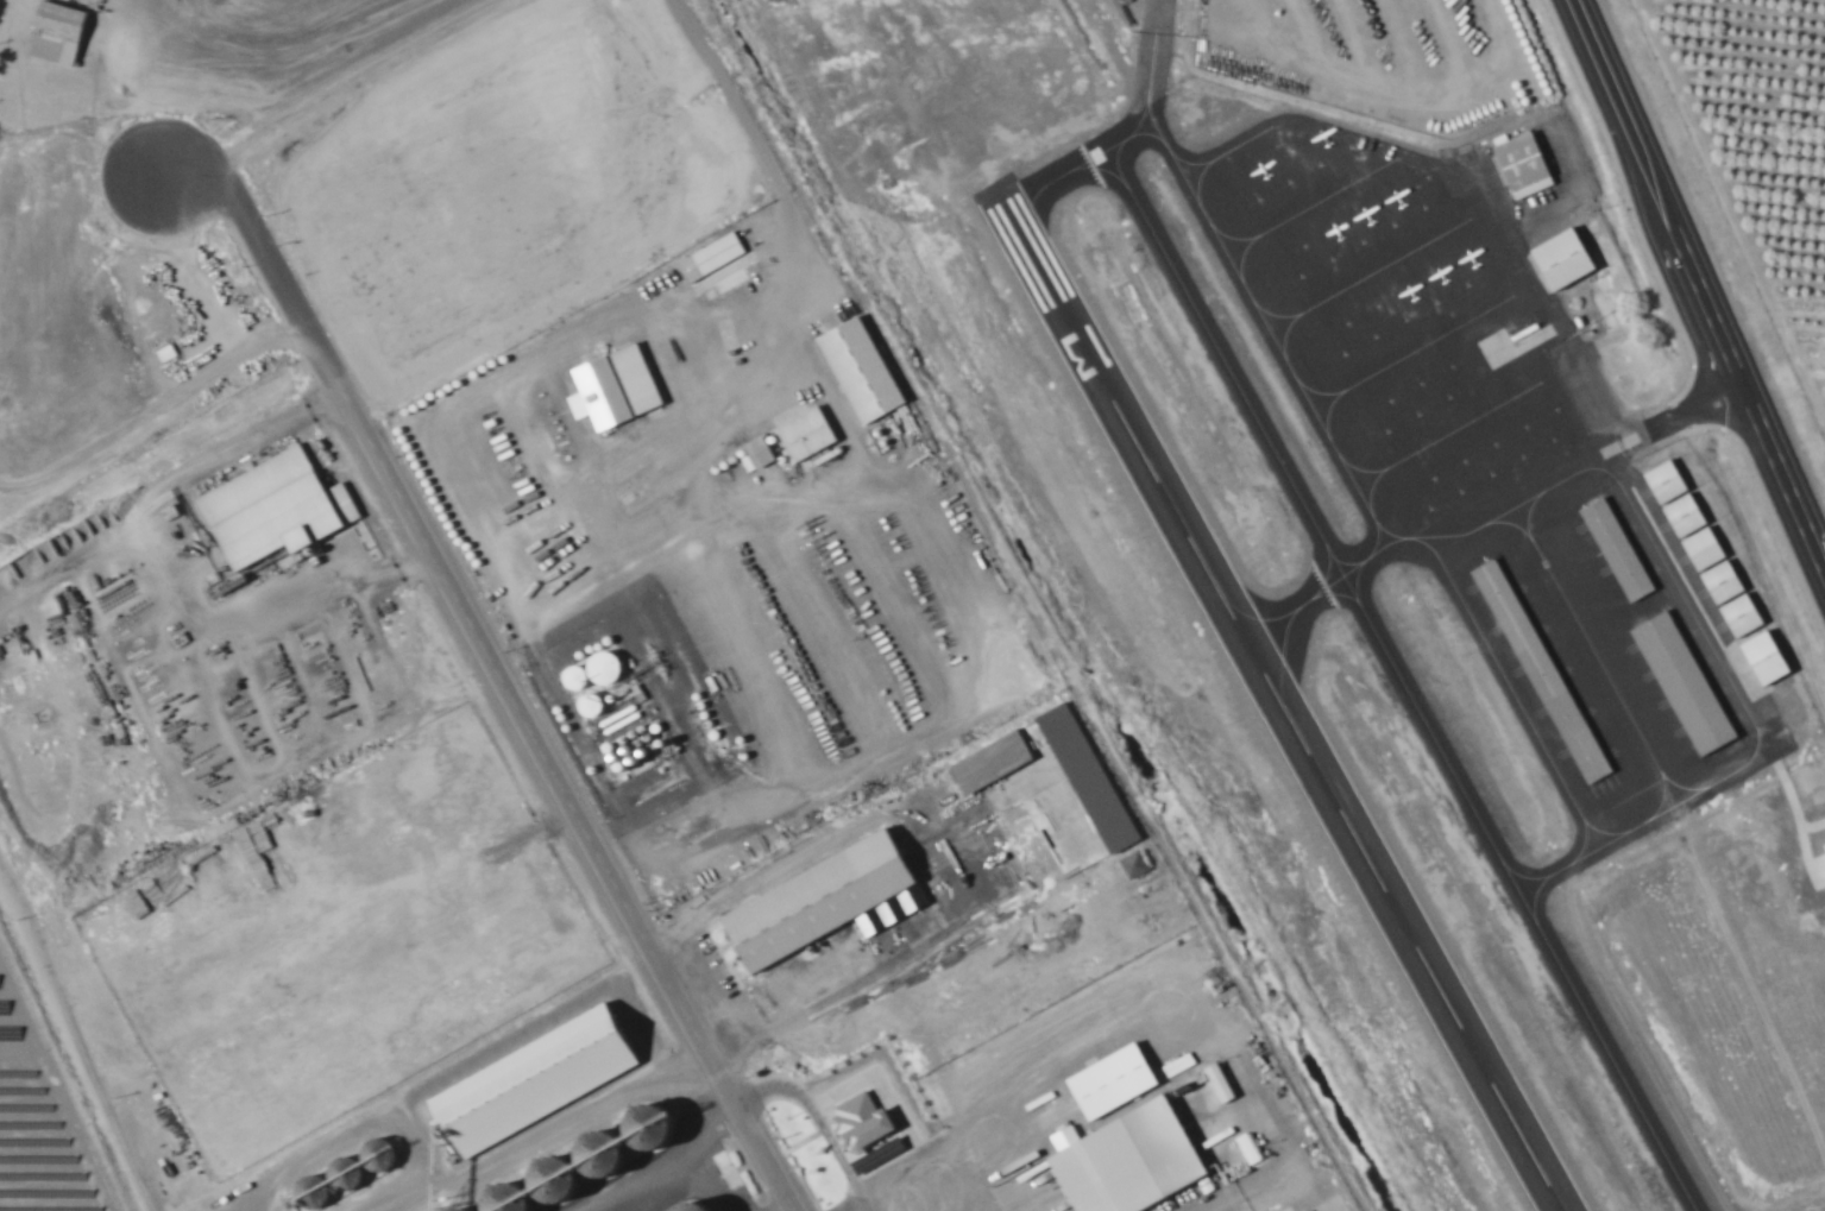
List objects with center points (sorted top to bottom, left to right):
building: (59, 33)
road: (1621, 113)
building: (1525, 165)
building: (304, 171)
road: (791, 213)
building: (711, 257)
building: (1567, 260)
building: (361, 267)
road: (1706, 305)
building: (166, 353)
building: (863, 368)
building: (616, 387)
road: (1686, 411)
building: (808, 433)
building: (761, 450)
road: (1783, 480)
building: (276, 509)
road: (503, 517)
road: (429, 545)
building: (1619, 549)
building: (1707, 549)
road: (172, 586)
building: (1769, 657)
building: (1686, 682)
airport runway: (1285, 687)
building: (593, 704)
building: (1824, 844)
building: (1135, 864)
building: (824, 898)
building: (539, 1079)
building: (1115, 1080)
building: (864, 1123)
road: (559, 1134)
road: (700, 1153)
building: (1129, 1160)
road: (1210, 1205)
building: (691, 1206)

